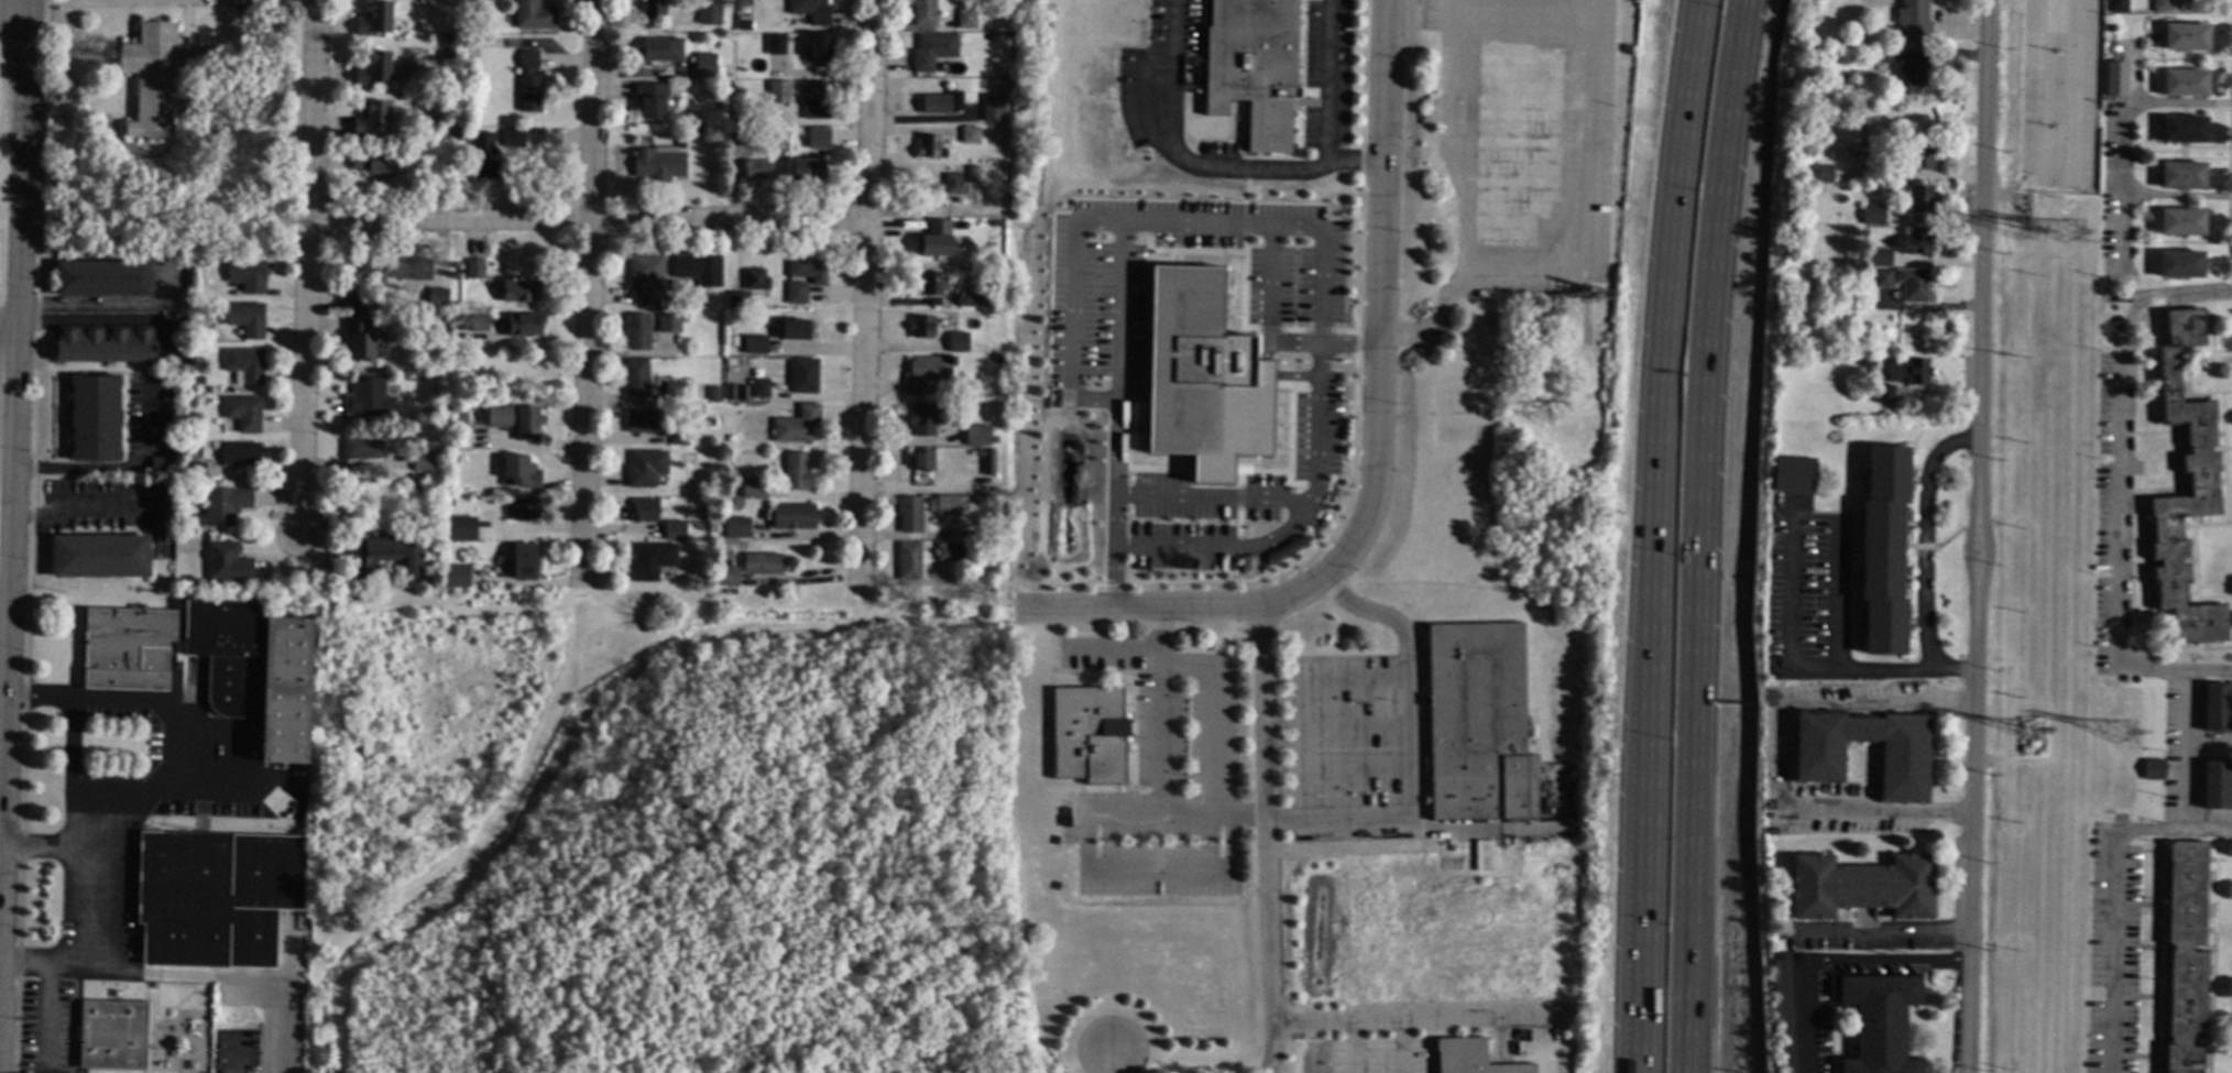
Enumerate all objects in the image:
building: (2160, 6)
building: (2119, 7)
building: (709, 8)
building: (653, 9)
building: (1850, 10)
building: (811, 11)
building: (923, 13)
building: (533, 15)
road: (13, 19)
building: (374, 19)
building: (966, 20)
building: (1914, 21)
building: (744, 26)
building: (2110, 29)
building: (2185, 37)
building: (446, 40)
building: (775, 44)
building: (820, 48)
building: (932, 48)
building: (661, 50)
building: (447, 55)
building: (1849, 56)
building: (1881, 57)
building: (704, 66)
building: (1254, 68)
building: (373, 69)
building: (153, 76)
building: (1914, 76)
building: (2114, 79)
building: (529, 84)
building: (2184, 84)
building: (778, 92)
building: (650, 100)
building: (816, 100)
building: (940, 101)
road: (2131, 105)
building: (993, 107)
road: (1323, 110)
building: (370, 118)
road: (1463, 128)
building: (2155, 128)
building: (2182, 130)
building: (970, 134)
building: (743, 135)
building: (460, 136)
building: (788, 136)
building: (445, 138)
building: (513, 139)
building: (818, 139)
building: (929, 145)
road: (1171, 152)
building: (1873, 153)
building: (1918, 153)
building: (442, 154)
building: (485, 156)
building: (2135, 158)
building: (373, 163)
building: (658, 163)
road: (1246, 167)
building: (755, 169)
building: (807, 169)
building: (972, 173)
building: (1819, 174)
building: (2182, 177)
street lamp: (1695, 178)
building: (949, 183)
road: (1245, 191)
road: (2138, 196)
building: (1919, 199)
road: (934, 209)
building: (1874, 216)
road: (587, 219)
road: (1245, 219)
road: (1273, 222)
power tower: (2076, 222)
building: (2181, 222)
power tower: (2032, 225)
building: (2135, 234)
building: (934, 239)
building: (1916, 243)
road: (1585, 254)
building: (1875, 259)
building: (204, 260)
road: (305, 265)
building: (2180, 265)
building: (808, 269)
building: (364, 270)
building: (412, 270)
building: (471, 270)
building: (699, 270)
building: (248, 275)
building: (644, 277)
building: (103, 278)
building: (1883, 280)
building: (755, 281)
road: (1267, 282)
building: (931, 284)
building: (1913, 285)
building: (1840, 287)
building: (522, 291)
building: (1000, 291)
road: (590, 293)
road: (865, 293)
building: (797, 294)
building: (969, 298)
building: (2122, 298)
building: (437, 299)
building: (737, 299)
building: (355, 300)
building: (661, 304)
road: (109, 306)
building: (674, 306)
building: (176, 316)
building: (247, 319)
road: (101, 321)
building: (460, 324)
building: (479, 324)
building: (668, 324)
building: (525, 326)
building: (921, 327)
road: (7, 328)
road: (1379, 329)
building: (794, 330)
building: (637, 332)
road: (1071, 333)
building: (1598, 337)
building: (358, 340)
building: (732, 341)
building: (958, 342)
road: (1322, 342)
road: (1663, 342)
building: (105, 344)
building: (754, 346)
building: (997, 350)
building: (732, 351)
building: (997, 360)
street lamp: (1680, 360)
building: (244, 365)
building: (439, 372)
building: (1908, 372)
building: (924, 374)
road: (1278, 374)
building: (802, 376)
building: (1201, 376)
building: (636, 379)
building: (198, 381)
building: (758, 388)
building: (675, 393)
building: (714, 394)
building: (1884, 394)
building: (370, 396)
building: (190, 403)
road: (13, 405)
building: (243, 413)
building: (458, 414)
road: (1117, 415)
building: (95, 418)
building: (922, 420)
building: (515, 421)
building: (644, 421)
building: (710, 421)
building: (797, 426)
building: (994, 426)
building: (976, 435)
building: (679, 437)
building: (362, 449)
building: (240, 455)
building: (921, 461)
building: (422, 462)
building: (987, 462)
building: (160, 467)
building: (645, 468)
road: (114, 469)
building: (195, 472)
building: (519, 472)
building: (796, 472)
building: (1794, 475)
building: (2202, 485)
building: (147, 489)
building: (754, 489)
road: (2116, 492)
road: (1193, 493)
building: (971, 500)
road: (1290, 501)
building: (225, 504)
building: (449, 504)
building: (945, 504)
road: (81, 507)
building: (524, 510)
building: (645, 512)
building: (909, 514)
building: (792, 517)
building: (458, 526)
building: (736, 528)
building: (674, 532)
road: (1696, 535)
road: (1974, 536)
road: (1282, 537)
road: (1919, 538)
street lamp: (1673, 545)
building: (950, 550)
building: (1883, 551)
building: (384, 556)
building: (725, 556)
building: (100, 557)
building: (908, 559)
building: (650, 561)
building: (226, 562)
building: (524, 562)
building: (762, 563)
building: (729, 576)
building: (456, 577)
road: (1794, 590)
road: (1141, 610)
road: (932, 627)
building: (212, 663)
road: (1299, 697)
building: (2218, 708)
road: (963, 720)
building: (1477, 724)
street lamp: (1670, 731)
building: (1088, 735)
power tower: (2120, 740)
road: (2211, 742)
road: (1404, 743)
building: (2033, 745)
power tower: (2032, 746)
building: (2022, 749)
road: (2190, 751)
road: (1779, 757)
road: (1158, 763)
building: (1817, 763)
building: (2153, 770)
road: (68, 773)
building: (2217, 786)
road: (157, 797)
building: (1064, 821)
road: (1267, 822)
park: (664, 836)
road: (473, 846)
road: (1646, 872)
building: (1861, 887)
road: (2108, 889)
building: (215, 897)
road: (66, 905)
road: (705, 917)
street lamp: (1666, 920)
road: (1878, 930)
building: (2185, 956)
road: (33, 963)
road: (1831, 963)
road: (492, 971)
road: (988, 994)
road: (943, 995)
road: (795, 999)
building: (199, 1000)
building: (1784, 1017)
building: (1877, 1019)
road: (1412, 1020)
road: (767, 1023)
building: (111, 1034)
road: (954, 1042)
road: (1399, 1047)
road: (1352, 1048)
road: (628, 1055)
road: (1267, 1056)
building: (1471, 1058)
road: (1107, 1062)
road: (1639, 1064)
road: (1640, 1064)

